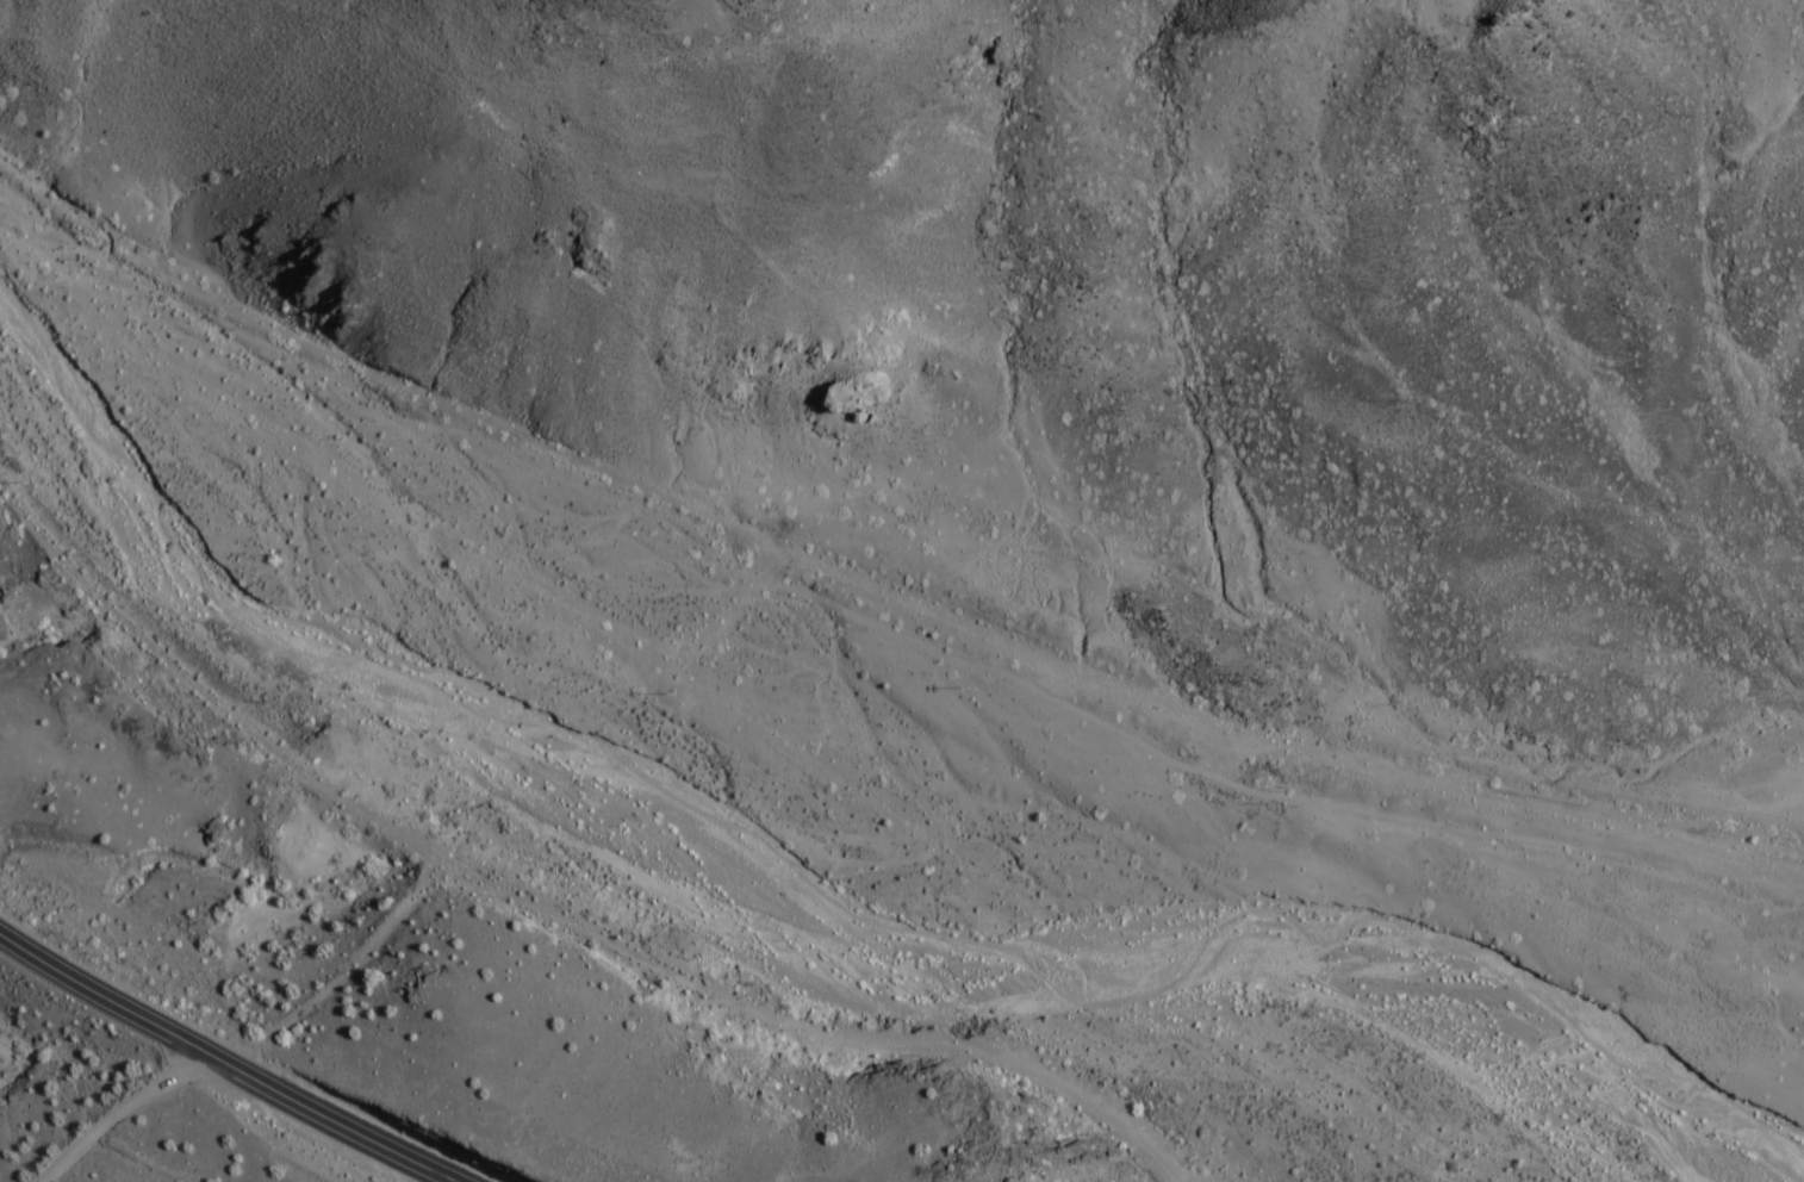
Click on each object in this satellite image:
road: (212, 1059)
road: (119, 1112)

